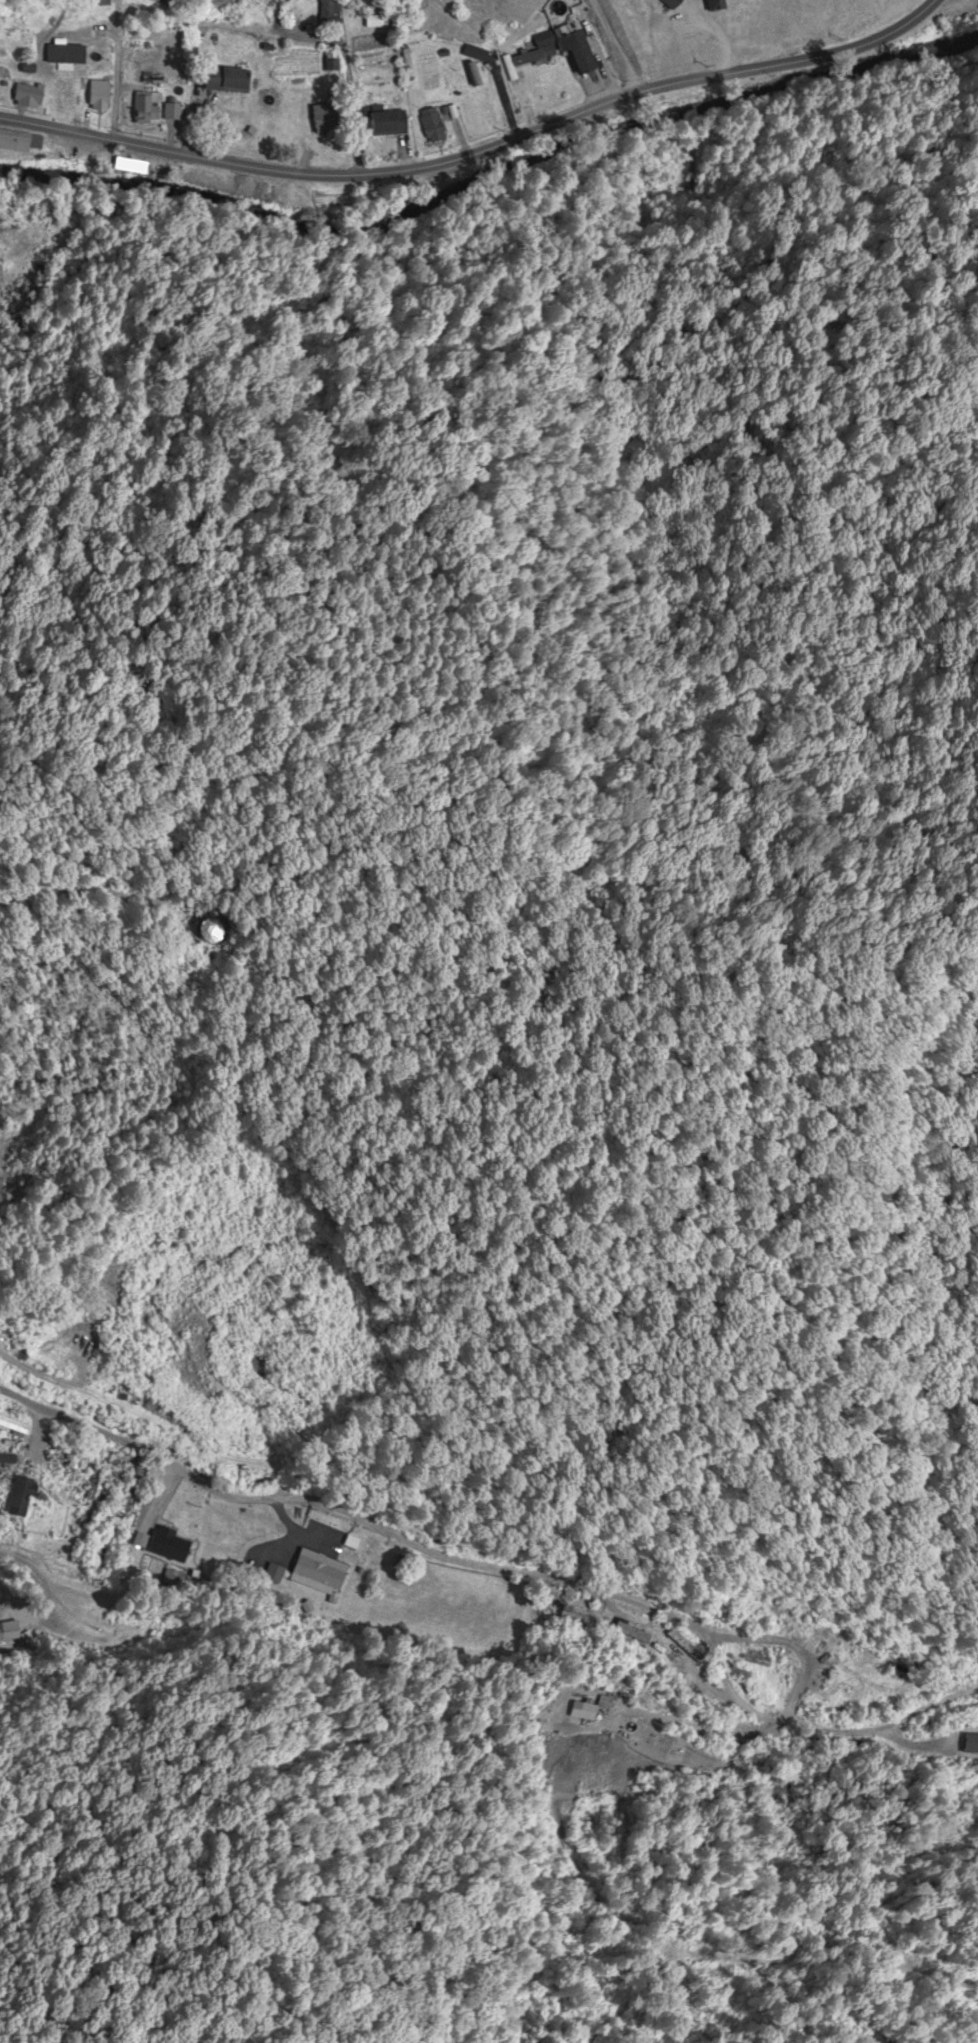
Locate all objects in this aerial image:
building: (221, 4)
building: (328, 11)
building: (554, 48)
building: (227, 79)
building: (28, 96)
building: (98, 96)
building: (145, 108)
building: (172, 110)
building: (326, 117)
building: (388, 123)
building: (432, 124)
building: (18, 141)
road: (475, 152)
building: (210, 931)
building: (13, 1426)
building: (8, 1458)
building: (20, 1497)
road: (493, 1521)
building: (139, 1540)
building: (167, 1546)
building: (269, 1573)
building: (321, 1574)
building: (572, 1617)
building: (583, 1711)

